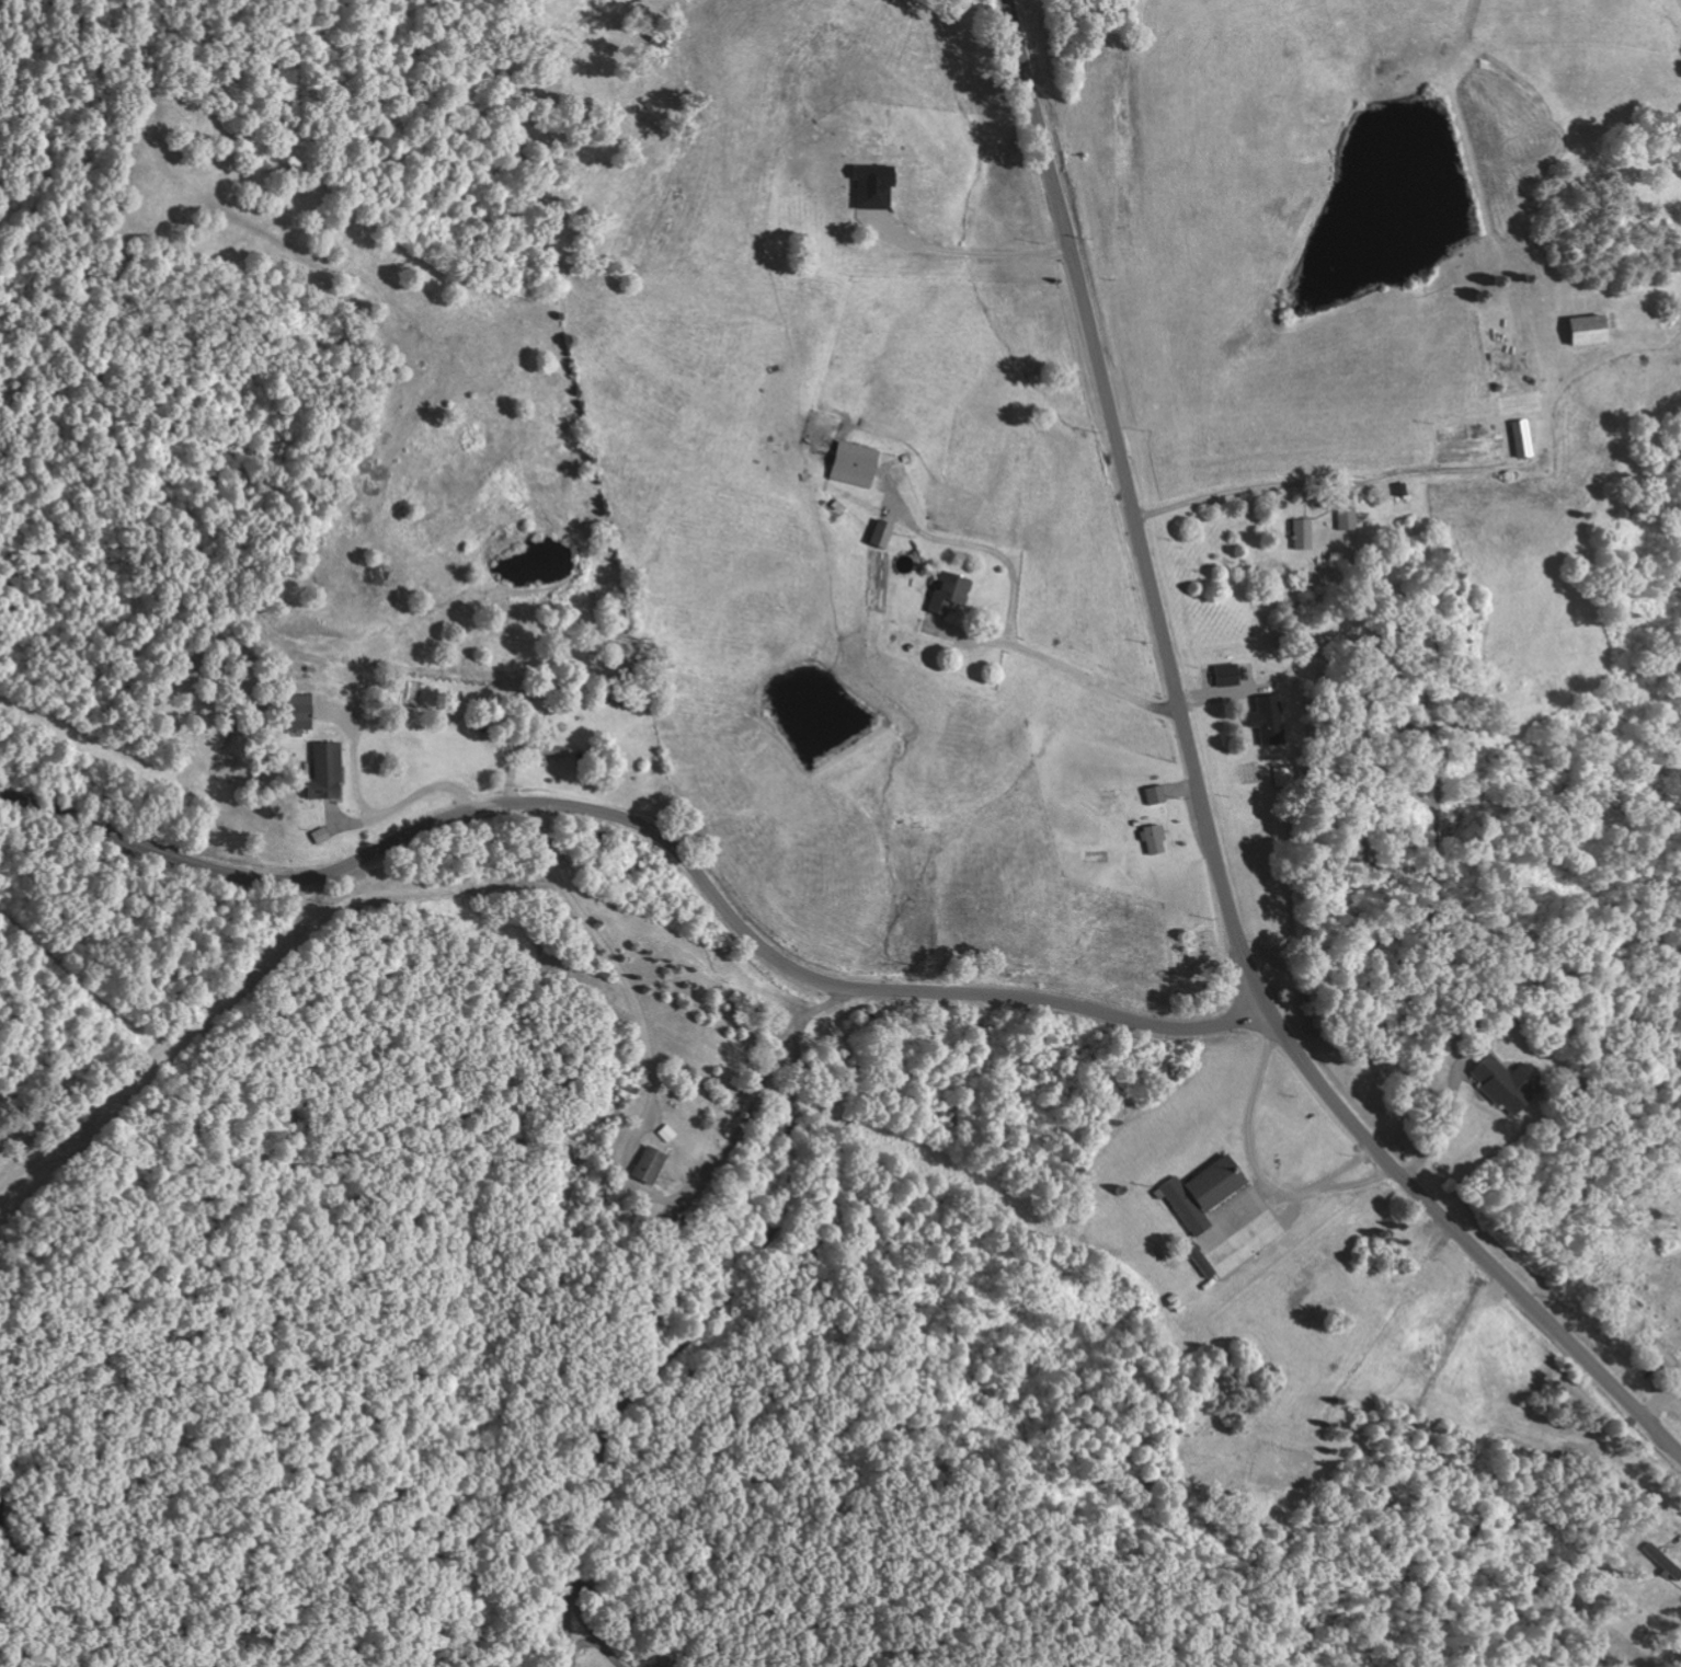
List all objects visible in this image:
building: (867, 187)
building: (1577, 330)
building: (1517, 438)
building: (849, 463)
road: (1136, 513)
building: (1343, 518)
building: (877, 533)
building: (1299, 533)
building: (945, 593)
building: (1223, 675)
building: (306, 712)
building: (1261, 718)
building: (329, 771)
building: (1153, 794)
road: (654, 832)
building: (322, 836)
building: (1151, 839)
building: (1498, 1082)
building: (652, 1165)
building: (1199, 1192)
road: (1472, 1243)
building: (1197, 1260)
road: (501, 1303)
road: (544, 1502)
building: (1661, 1561)
road: (800, 1649)

